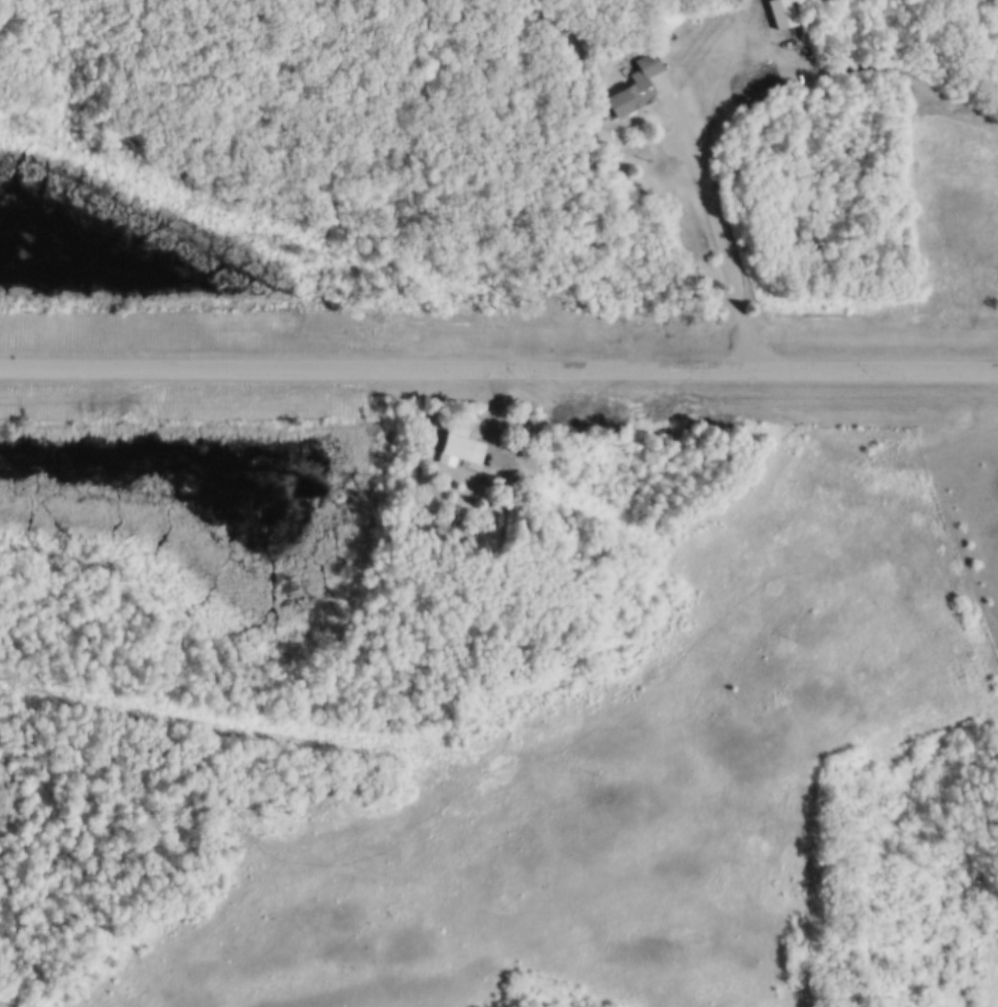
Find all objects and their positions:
building: (785, 15)
building: (633, 84)
road: (717, 224)
road: (499, 366)
building: (461, 444)
building: (531, 458)

